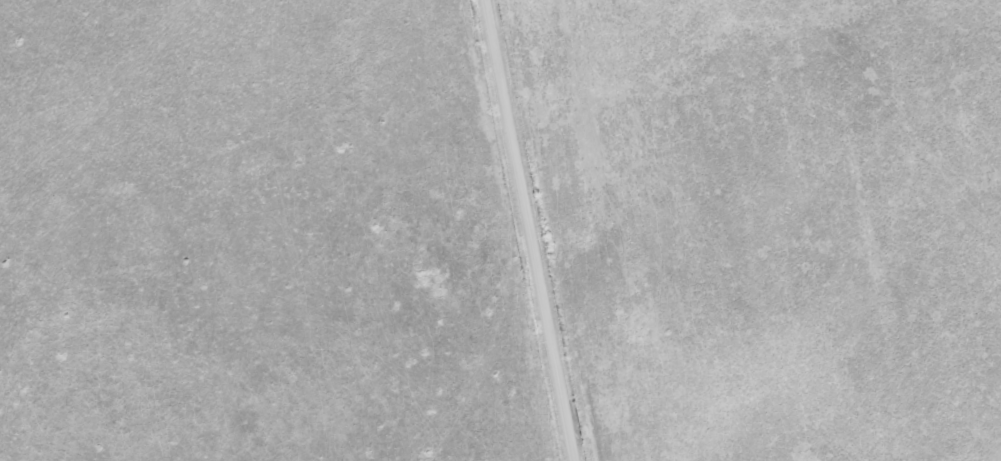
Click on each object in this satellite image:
road: (532, 230)

